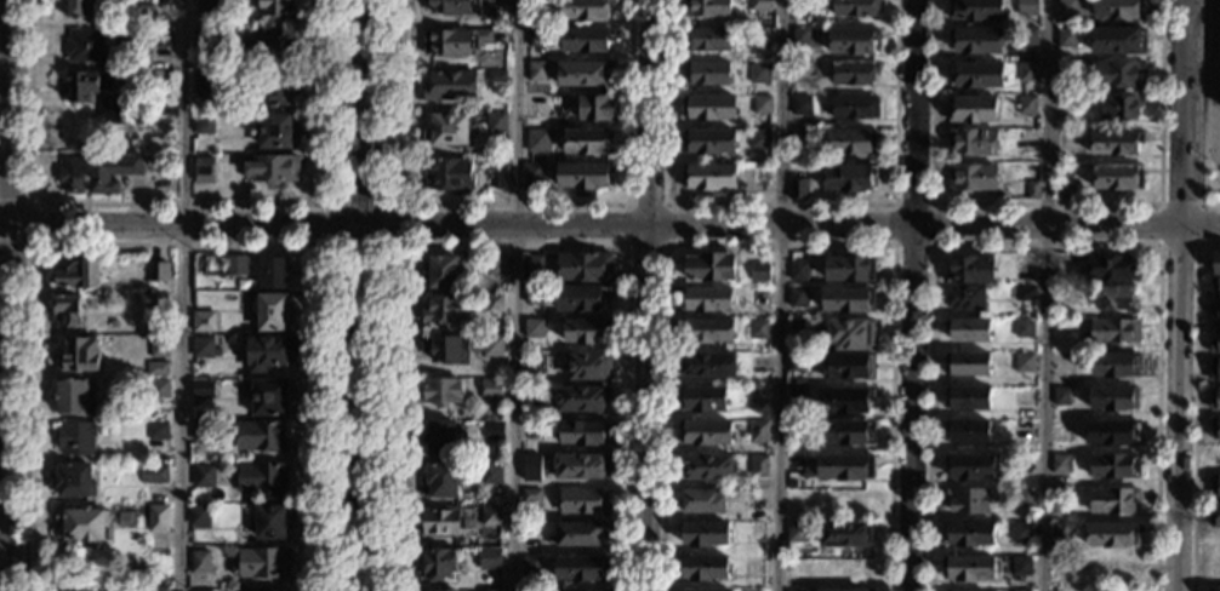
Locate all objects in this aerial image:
building: (206, 4)
building: (760, 5)
building: (455, 6)
building: (799, 6)
building: (1028, 6)
building: (275, 7)
building: (856, 7)
building: (1068, 7)
building: (76, 8)
building: (707, 8)
building: (1119, 8)
building: (586, 10)
building: (975, 10)
building: (143, 16)
building: (800, 36)
building: (1027, 36)
building: (160, 38)
building: (206, 38)
building: (536, 38)
building: (762, 38)
building: (586, 39)
building: (707, 39)
building: (1067, 39)
building: (853, 40)
building: (976, 40)
building: (1118, 40)
building: (455, 41)
building: (267, 45)
building: (85, 47)
building: (538, 71)
building: (800, 71)
building: (1066, 71)
building: (706, 73)
building: (854, 73)
building: (1027, 73)
building: (583, 74)
building: (760, 74)
building: (976, 74)
building: (1118, 74)
building: (496, 78)
building: (91, 85)
building: (205, 85)
building: (450, 86)
building: (279, 88)
building: (762, 104)
building: (536, 105)
building: (802, 105)
building: (1026, 105)
building: (854, 107)
building: (595, 108)
building: (709, 108)
building: (1119, 108)
building: (971, 109)
road: (1197, 113)
building: (204, 124)
building: (496, 124)
building: (275, 130)
building: (449, 130)
building: (538, 139)
building: (760, 139)
building: (800, 139)
building: (1026, 140)
building: (588, 142)
building: (708, 142)
building: (853, 142)
building: (971, 143)
building: (1116, 143)
building: (272, 170)
building: (204, 171)
building: (97, 173)
building: (449, 174)
building: (501, 176)
building: (532, 177)
building: (583, 177)
building: (709, 177)
building: (849, 178)
building: (971, 178)
building: (1118, 178)
building: (798, 189)
building: (1032, 189)
building: (1066, 189)
road: (1045, 202)
road: (177, 203)
road: (514, 203)
road: (780, 203)
road: (29, 223)
road: (610, 225)
road: (1159, 243)
road: (175, 245)
road: (514, 245)
road: (627, 245)
road: (780, 245)
road: (931, 245)
road: (1044, 245)
road: (324, 246)
building: (1215, 262)
building: (234, 265)
building: (496, 265)
building: (585, 266)
building: (709, 266)
building: (532, 269)
building: (850, 269)
building: (1111, 269)
building: (209, 270)
building: (970, 270)
building: (441, 271)
building: (759, 271)
building: (798, 271)
building: (156, 272)
building: (273, 272)
building: (80, 274)
building: (1215, 285)
building: (1025, 293)
road: (7, 294)
road: (184, 294)
road: (365, 294)
road: (518, 294)
road: (644, 294)
road: (776, 294)
road: (914, 294)
road: (1044, 294)
building: (534, 295)
road: (1179, 295)
building: (582, 297)
building: (759, 298)
building: (797, 298)
building: (965, 298)
building: (1116, 298)
building: (706, 299)
building: (848, 300)
building: (156, 302)
building: (494, 302)
building: (446, 309)
building: (67, 311)
building: (270, 311)
building: (1214, 312)
building: (203, 321)
building: (534, 328)
building: (798, 328)
building: (1025, 328)
building: (758, 329)
building: (969, 329)
building: (588, 331)
building: (706, 331)
building: (1113, 332)
building: (851, 333)
building: (1215, 343)
building: (159, 348)
building: (203, 348)
building: (491, 348)
building: (445, 349)
building: (268, 352)
building: (78, 355)
building: (797, 362)
building: (1024, 362)
building: (758, 363)
building: (967, 363)
building: (707, 365)
building: (1064, 365)
building: (1114, 365)
building: (534, 366)
building: (849, 366)
building: (589, 367)
building: (156, 369)
building: (1215, 371)
building: (799, 381)
building: (204, 389)
building: (491, 389)
building: (159, 390)
building: (441, 391)
building: (531, 396)
building: (757, 396)
building: (797, 396)
building: (1022, 396)
building: (1060, 396)
building: (74, 397)
building: (269, 397)
building: (967, 397)
building: (581, 398)
building: (703, 398)
building: (1113, 398)
building: (845, 400)
building: (1214, 400)
road: (1192, 404)
building: (1215, 428)
building: (492, 430)
building: (531, 430)
building: (1022, 430)
building: (201, 431)
building: (967, 431)
building: (1062, 431)
building: (585, 432)
building: (705, 432)
building: (759, 432)
building: (850, 432)
building: (1112, 432)
building: (158, 435)
building: (260, 436)
building: (440, 437)
building: (76, 438)
building: (1060, 463)
building: (530, 464)
building: (794, 464)
building: (758, 466)
building: (845, 466)
building: (970, 466)
building: (1114, 466)
building: (582, 467)
building: (705, 467)
building: (490, 474)
building: (154, 475)
building: (204, 476)
building: (262, 478)
building: (441, 480)
building: (74, 481)
building: (1215, 486)
building: (531, 495)
building: (1022, 498)
building: (968, 500)
building: (1112, 500)
building: (585, 501)
building: (702, 501)
building: (199, 516)
building: (490, 516)
building: (1215, 516)
building: (158, 518)
building: (125, 520)
building: (269, 522)
building: (441, 522)
building: (81, 524)
building: (1021, 532)
building: (797, 533)
building: (578, 534)
building: (703, 534)
building: (846, 534)
building: (968, 534)
building: (1110, 534)
building: (1060, 537)
building: (489, 558)
building: (200, 562)
building: (262, 562)
building: (440, 563)
building: (530, 566)
building: (1022, 566)
building: (582, 568)
building: (701, 568)
building: (968, 568)
building: (68, 587)
building: (155, 589)
building: (200, 590)
building: (272, 590)
building: (433, 590)
building: (490, 590)
building: (528, 590)
building: (578, 590)
building: (695, 590)
building: (796, 590)
building: (836, 590)
building: (964, 590)
building: (1021, 590)
building: (1214, 590)

